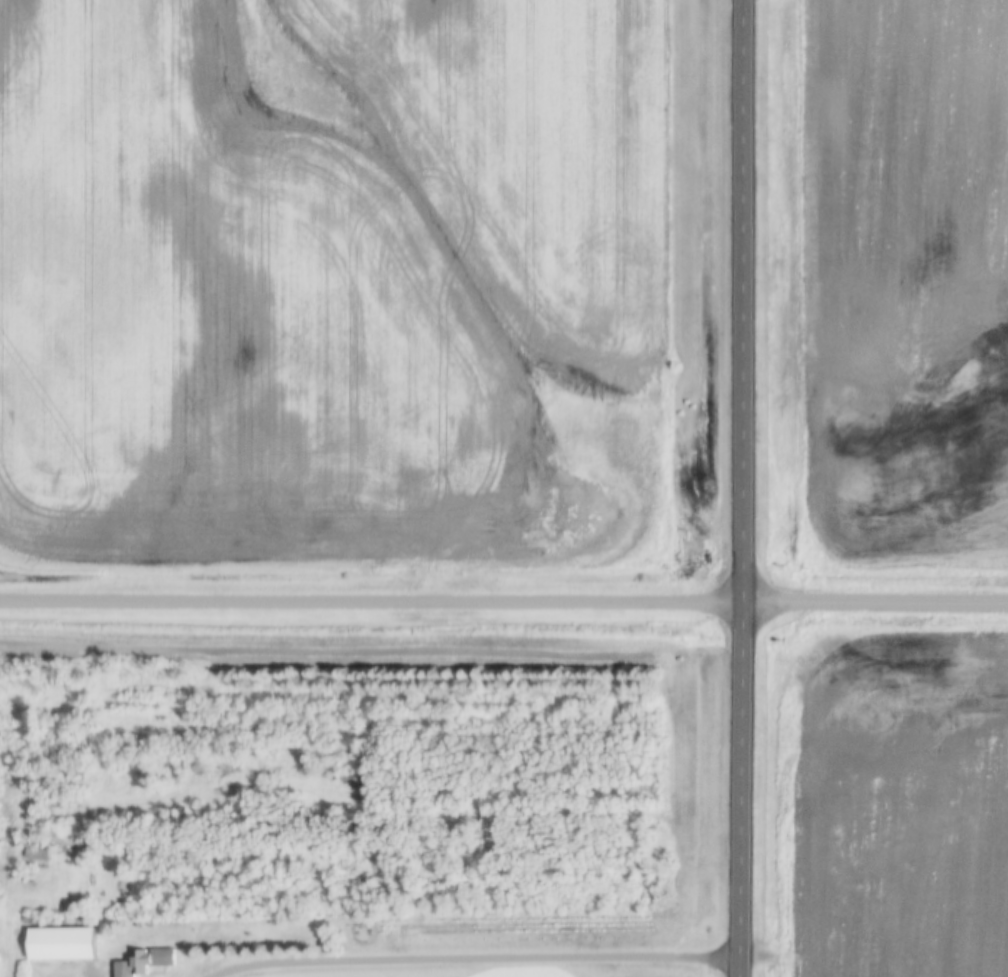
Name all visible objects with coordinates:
road: (738, 488)
road: (504, 601)
building: (32, 855)
building: (361, 932)
building: (62, 945)
road: (467, 960)
building: (146, 964)

